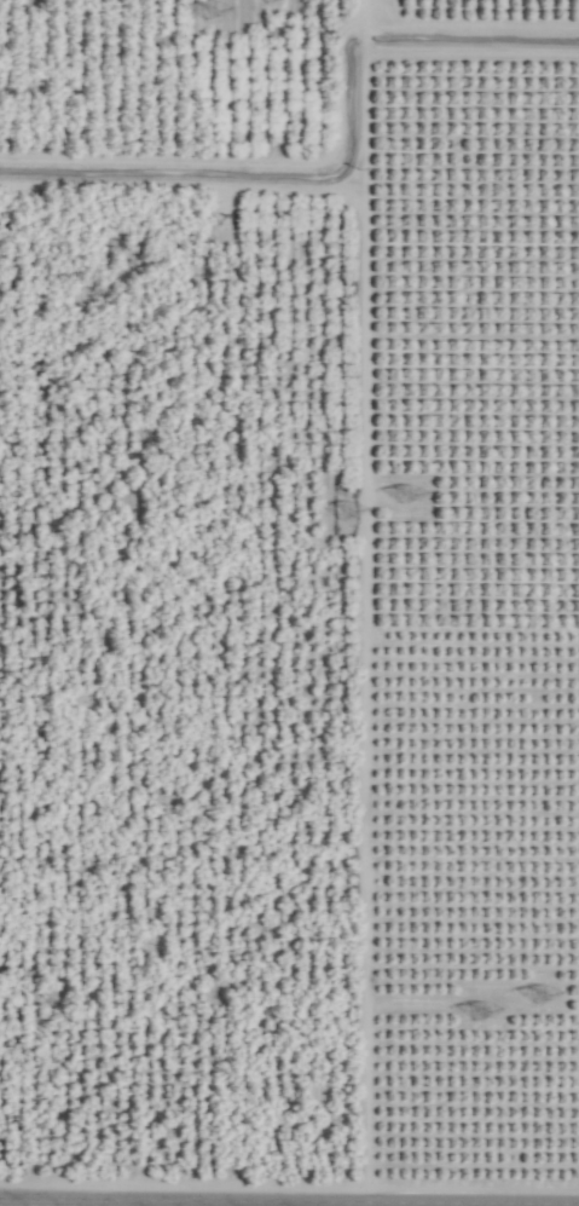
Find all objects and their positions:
power tower: (209, 17)
power tower: (394, 495)
power tower: (337, 514)
crop: (289, 602)
power tower: (535, 994)
power tower: (479, 1014)
road: (289, 1196)

